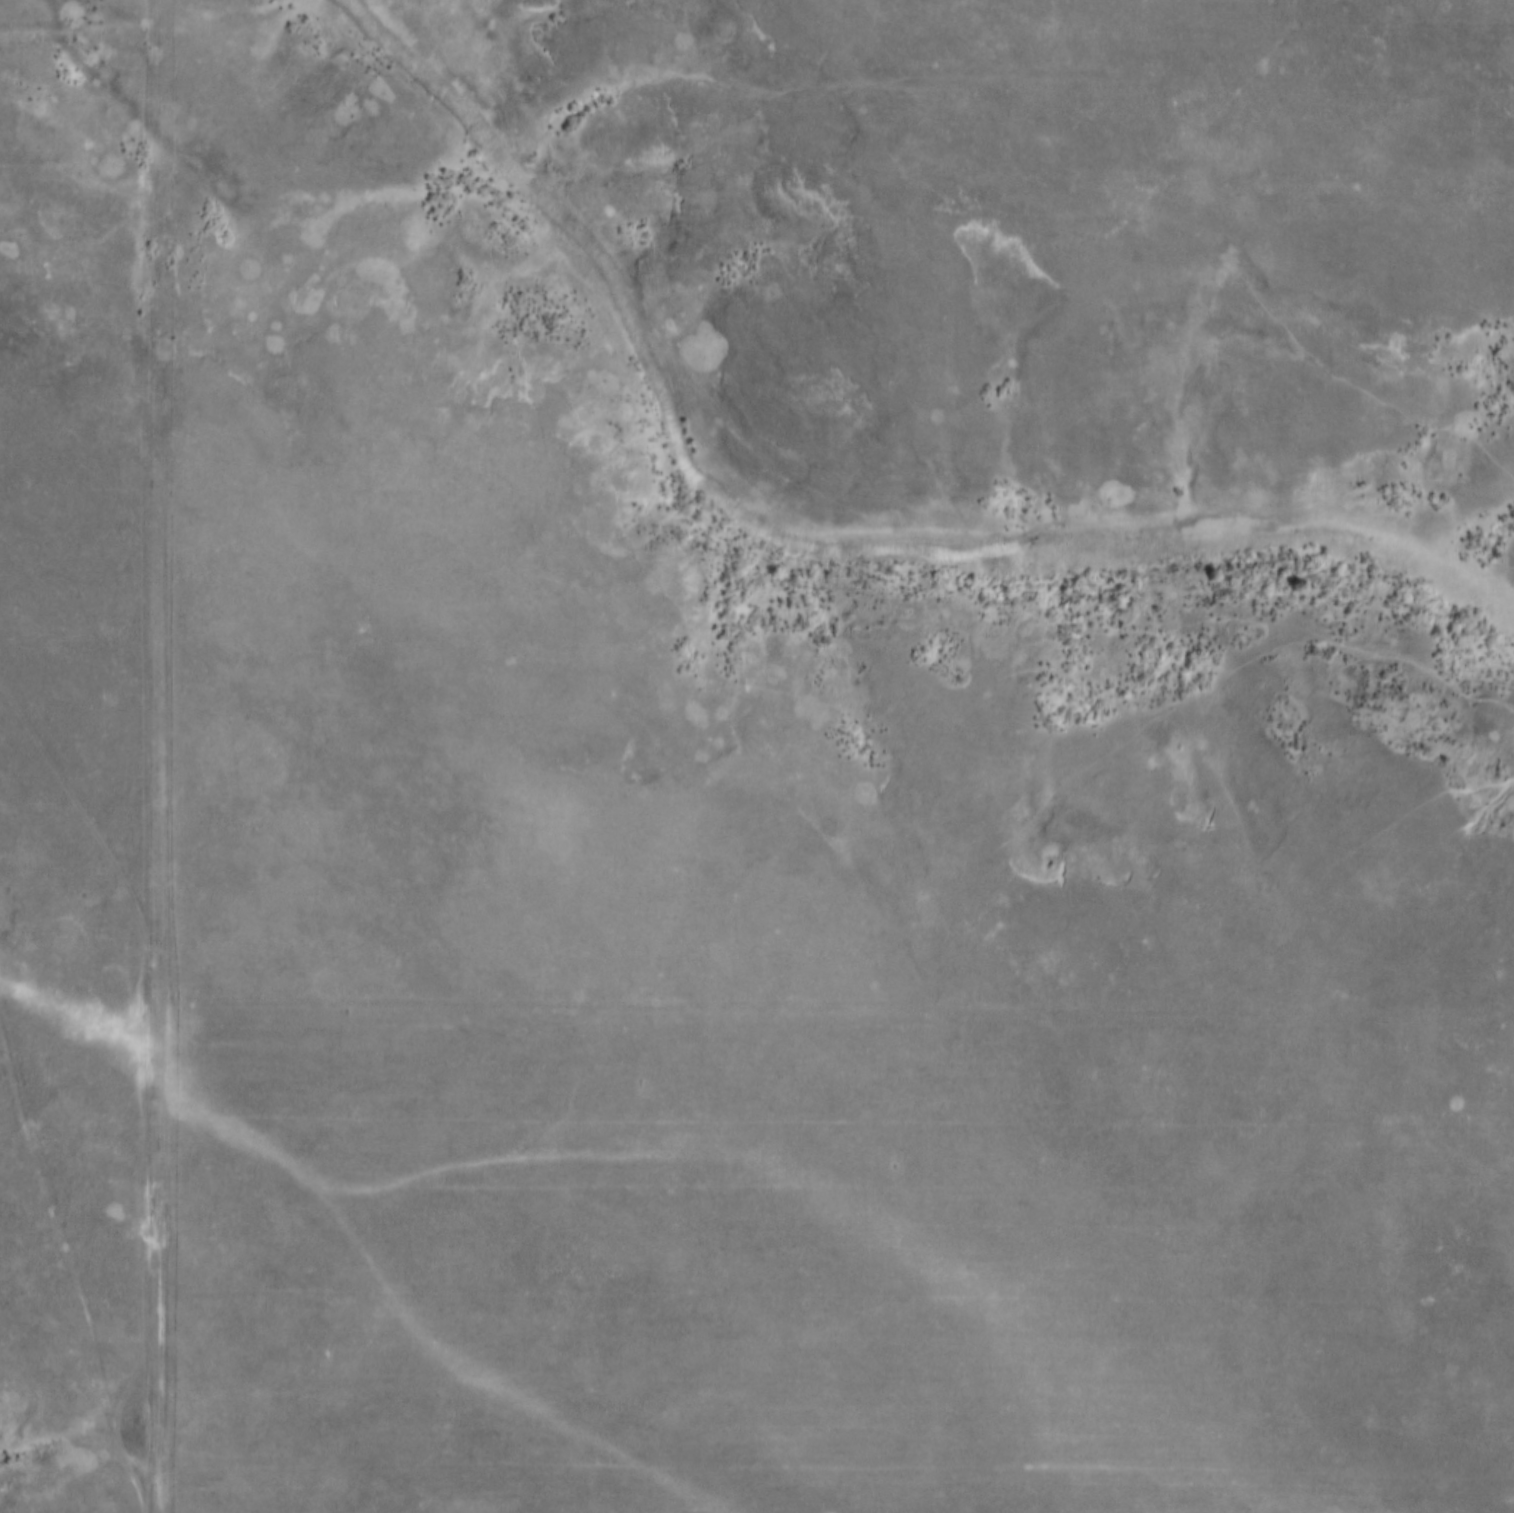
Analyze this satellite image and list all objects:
road: (150, 473)
road: (154, 1076)

